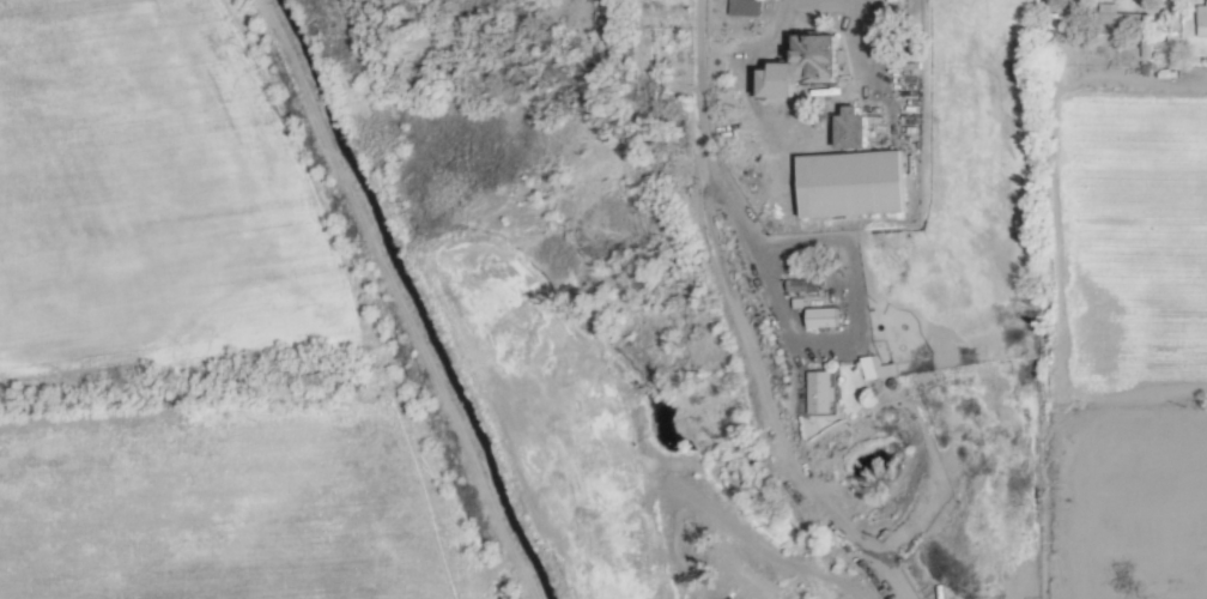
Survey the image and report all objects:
road: (818, 5)
building: (741, 6)
building: (1112, 14)
building: (1200, 19)
building: (807, 56)
road: (874, 66)
road: (740, 71)
building: (764, 80)
building: (841, 128)
road: (720, 173)
building: (842, 183)
building: (796, 285)
building: (817, 316)
building: (878, 368)
building: (815, 392)

